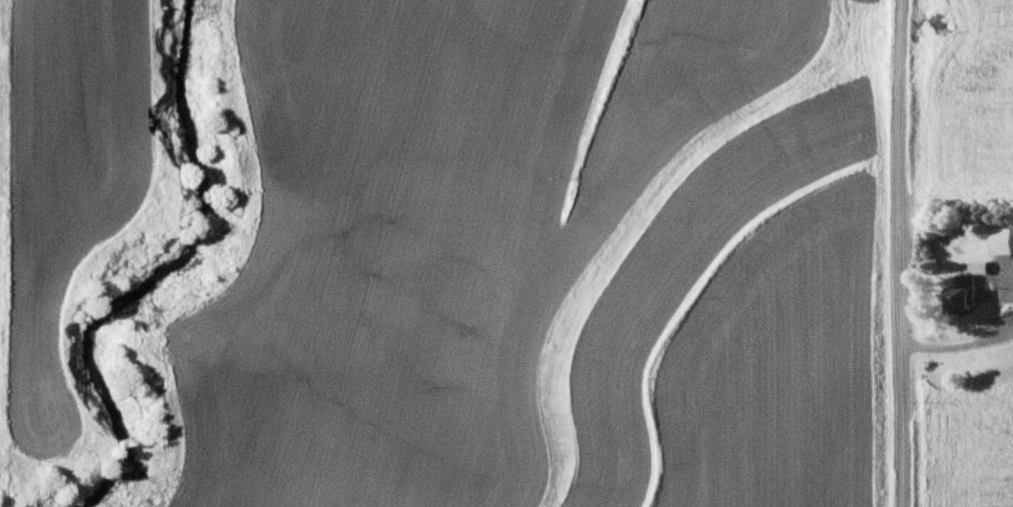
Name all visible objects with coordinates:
road: (902, 253)
building: (965, 289)
building: (1005, 321)

